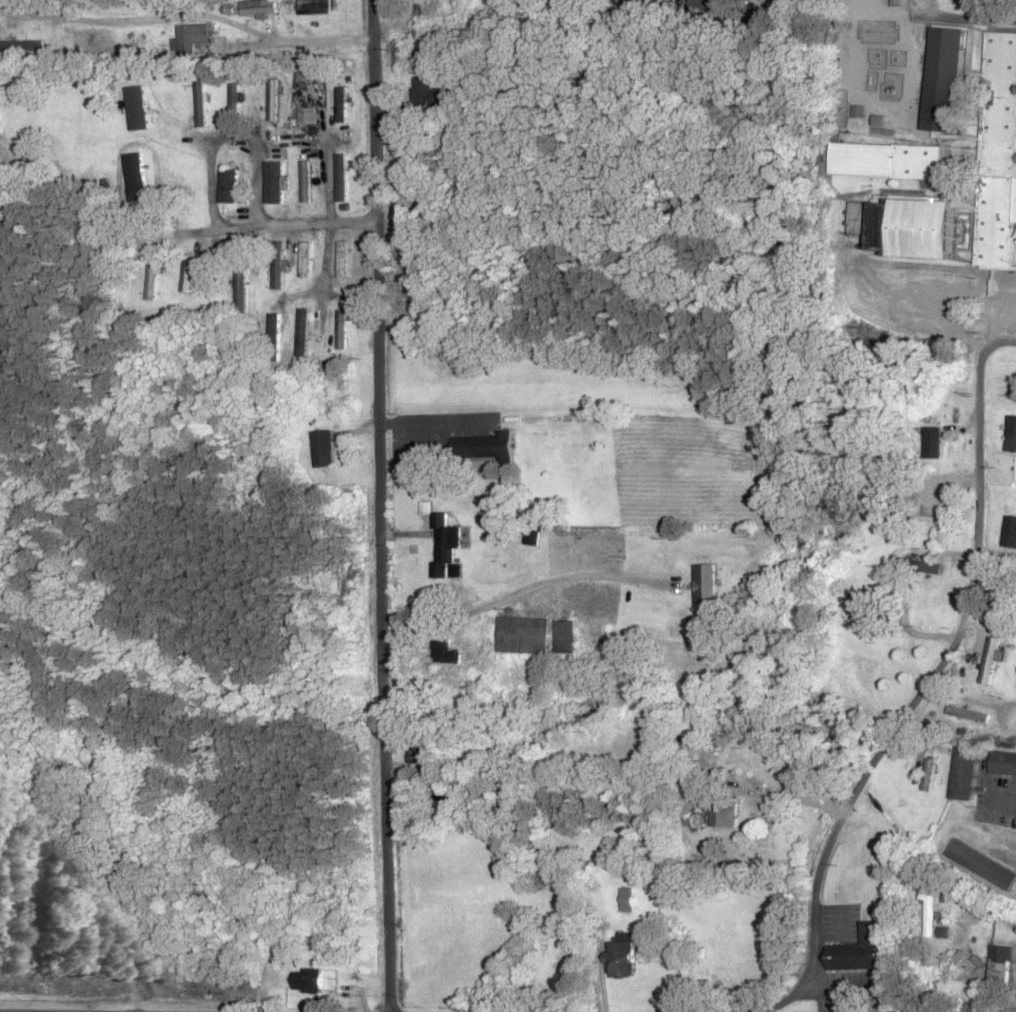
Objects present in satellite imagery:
building: (647, 2)
building: (315, 7)
building: (710, 7)
building: (258, 8)
road: (985, 10)
road: (1000, 20)
building: (419, 21)
building: (191, 38)
building: (20, 43)
building: (423, 95)
building: (234, 100)
building: (273, 100)
building: (305, 102)
building: (200, 104)
building: (341, 104)
road: (307, 111)
building: (982, 139)
building: (887, 160)
building: (135, 177)
building: (273, 177)
building: (341, 178)
building: (305, 181)
building: (228, 186)
building: (902, 226)
building: (341, 259)
building: (304, 260)
building: (277, 265)
building: (187, 273)
building: (151, 280)
road: (346, 287)
building: (239, 289)
road: (568, 328)
building: (341, 330)
building: (301, 333)
building: (272, 336)
road: (303, 337)
road: (996, 345)
road: (343, 396)
building: (945, 416)
building: (1011, 434)
building: (500, 439)
building: (934, 443)
building: (321, 449)
building: (940, 504)
road: (380, 506)
building: (1010, 532)
building: (447, 544)
building: (930, 568)
building: (864, 604)
building: (524, 636)
building: (445, 651)
building: (990, 661)
building: (968, 715)
road: (512, 725)
road: (899, 727)
building: (416, 752)
building: (1002, 765)
building: (962, 774)
building: (927, 775)
building: (720, 813)
building: (699, 821)
building: (982, 865)
building: (627, 898)
building: (929, 917)
building: (871, 944)
building: (621, 955)
building: (1000, 967)
building: (306, 980)

